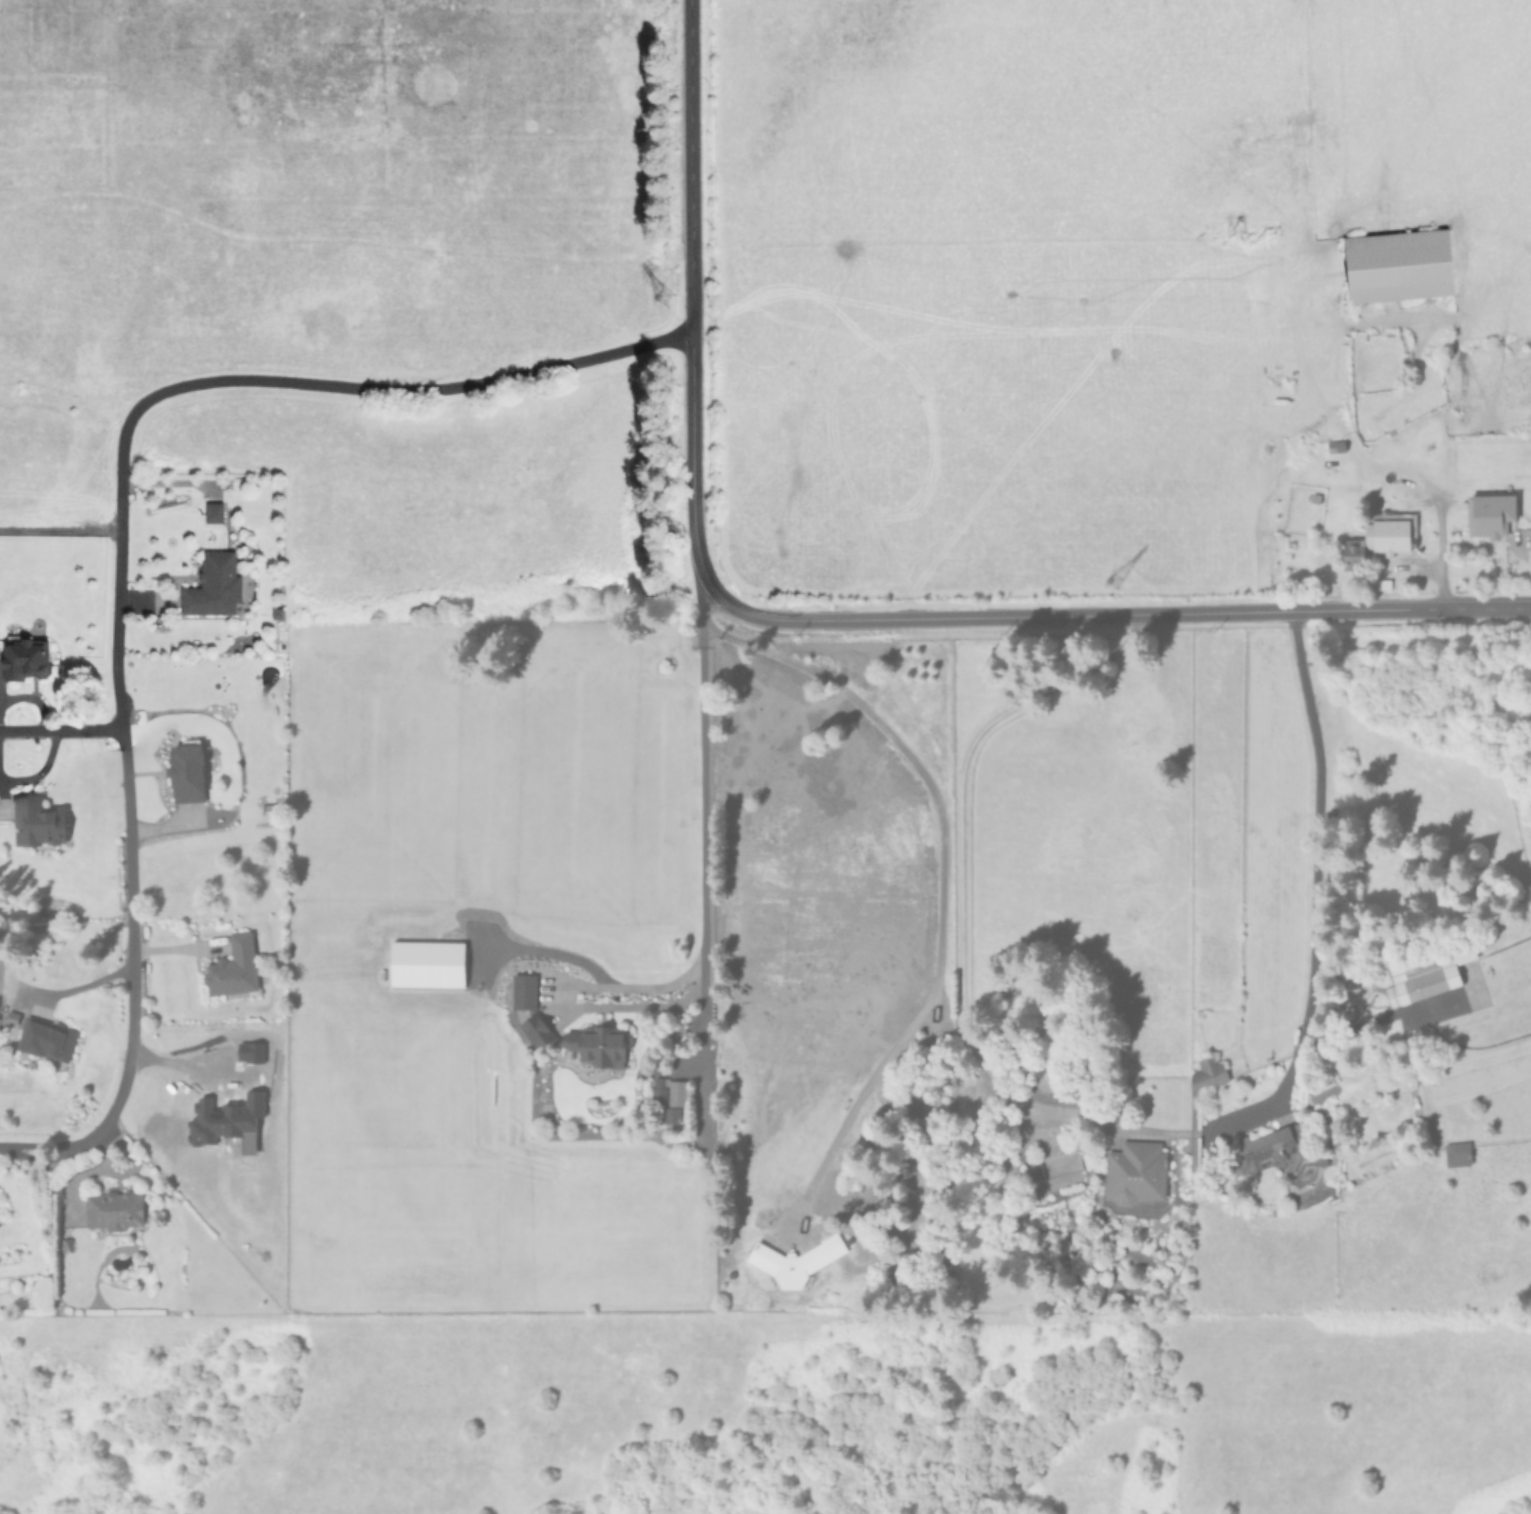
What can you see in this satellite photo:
building: (1398, 265)
road: (692, 297)
power tower: (653, 305)
road: (414, 387)
building: (213, 511)
building: (1489, 514)
road: (1437, 524)
building: (1388, 533)
building: (1351, 549)
power tower: (1099, 584)
building: (216, 585)
road: (1118, 613)
building: (24, 657)
road: (61, 727)
road: (123, 758)
building: (186, 770)
building: (265, 809)
building: (36, 822)
road: (961, 873)
road: (942, 874)
road: (1321, 891)
road: (703, 929)
building: (426, 964)
building: (232, 967)
building: (1422, 977)
road: (77, 987)
building: (523, 991)
building: (10, 1017)
building: (535, 1031)
building: (44, 1039)
building: (597, 1045)
road: (182, 1069)
building: (1206, 1074)
building: (1042, 1078)
building: (670, 1115)
road: (63, 1148)
building: (1268, 1149)
building: (1456, 1154)
building: (1134, 1172)
building: (112, 1211)
building: (795, 1261)

